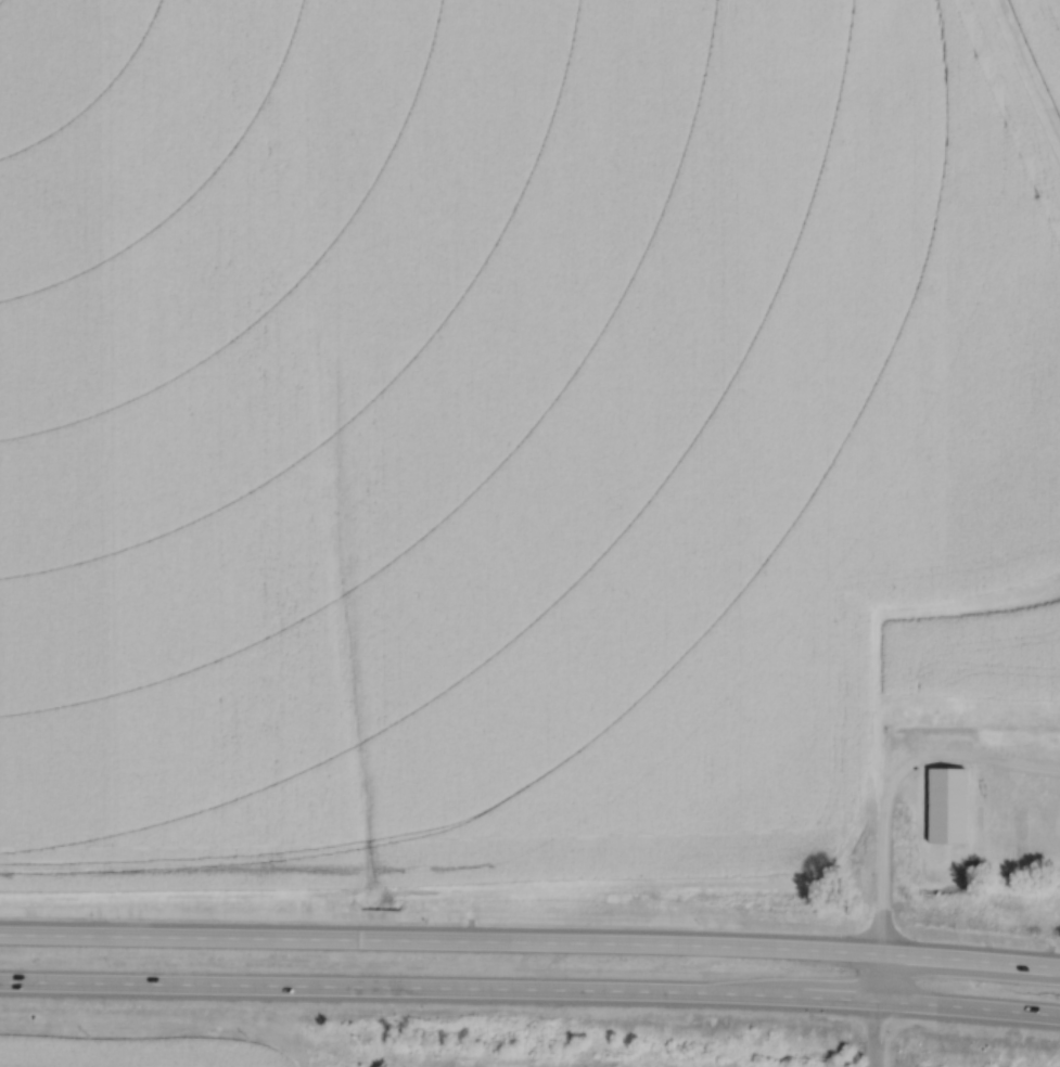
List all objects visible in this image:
road: (896, 779)
building: (945, 807)
road: (529, 940)
road: (529, 988)
road: (878, 1010)

